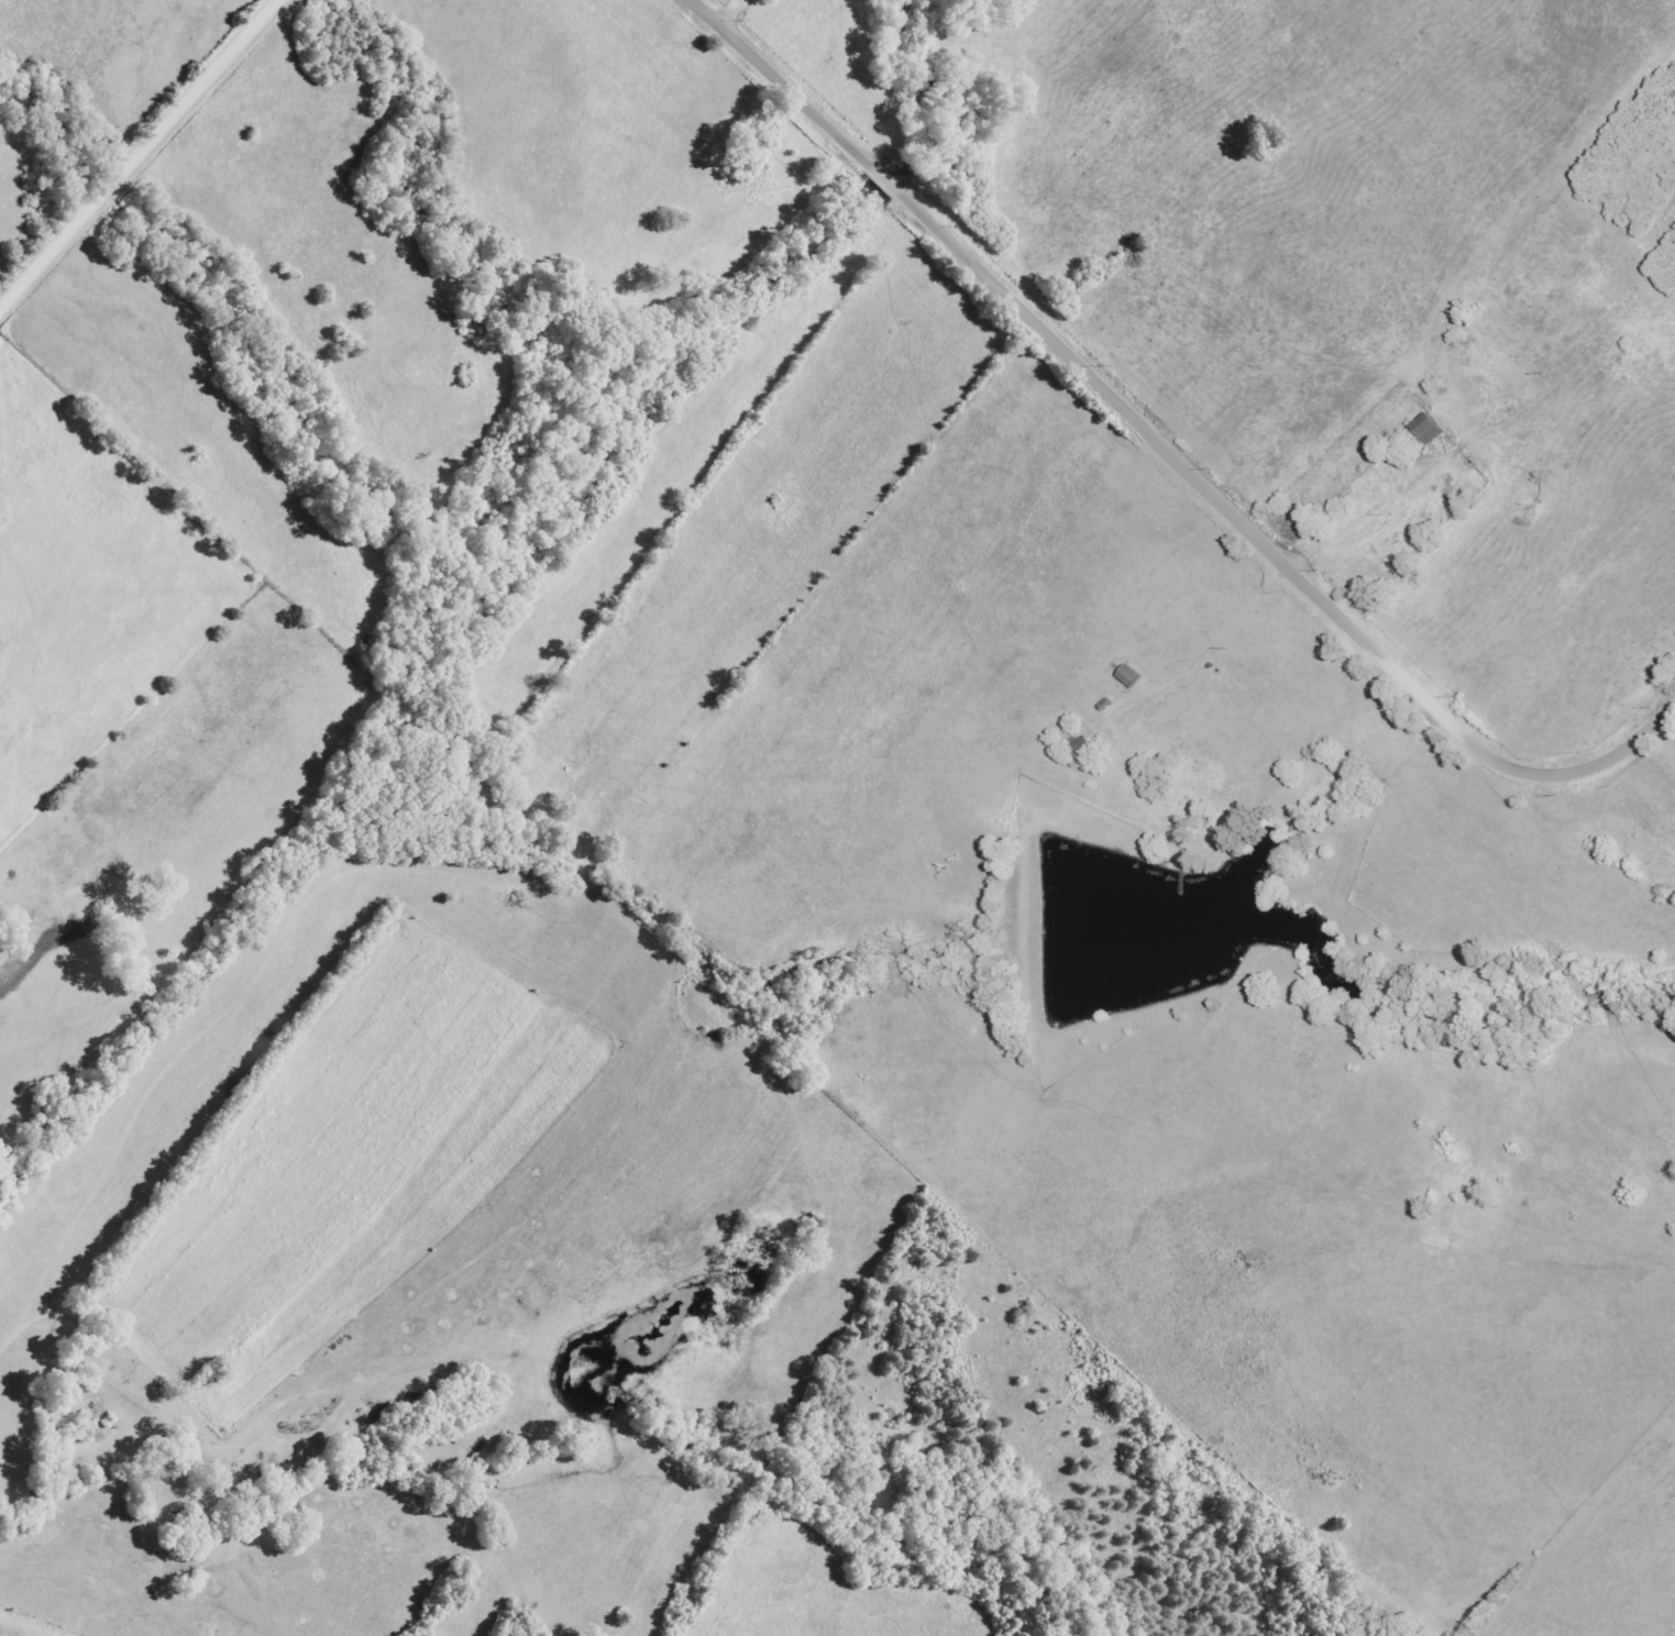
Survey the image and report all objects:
road: (732, 14)
road: (142, 157)
building: (1425, 432)
road: (1165, 454)
road: (1070, 699)

